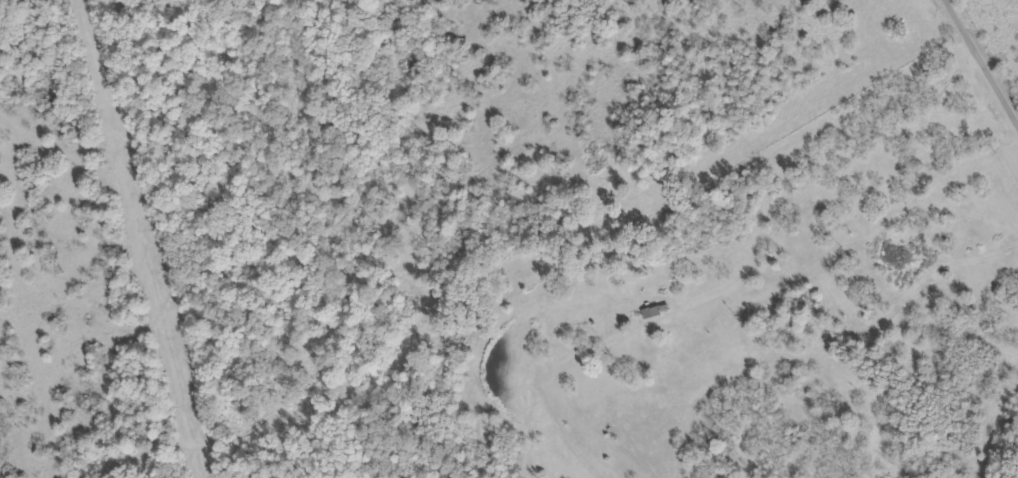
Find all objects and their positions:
road: (981, 62)
road: (813, 185)
building: (655, 311)

